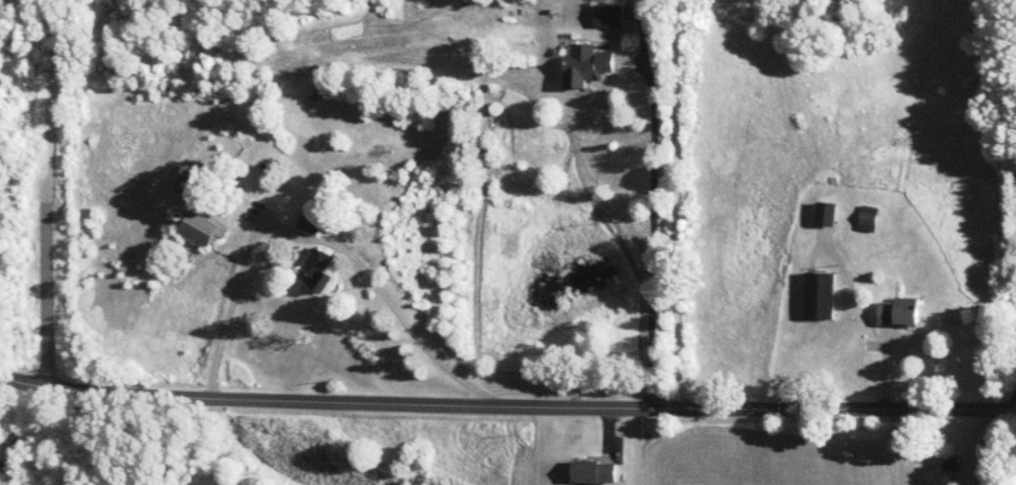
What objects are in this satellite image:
building: (609, 18)
building: (587, 66)
building: (192, 189)
building: (828, 217)
building: (870, 221)
building: (312, 222)
building: (204, 231)
road: (654, 234)
road: (324, 238)
building: (317, 272)
building: (821, 298)
building: (900, 316)
road: (1015, 408)
road: (507, 409)
road: (83, 438)
building: (954, 466)
building: (594, 474)

